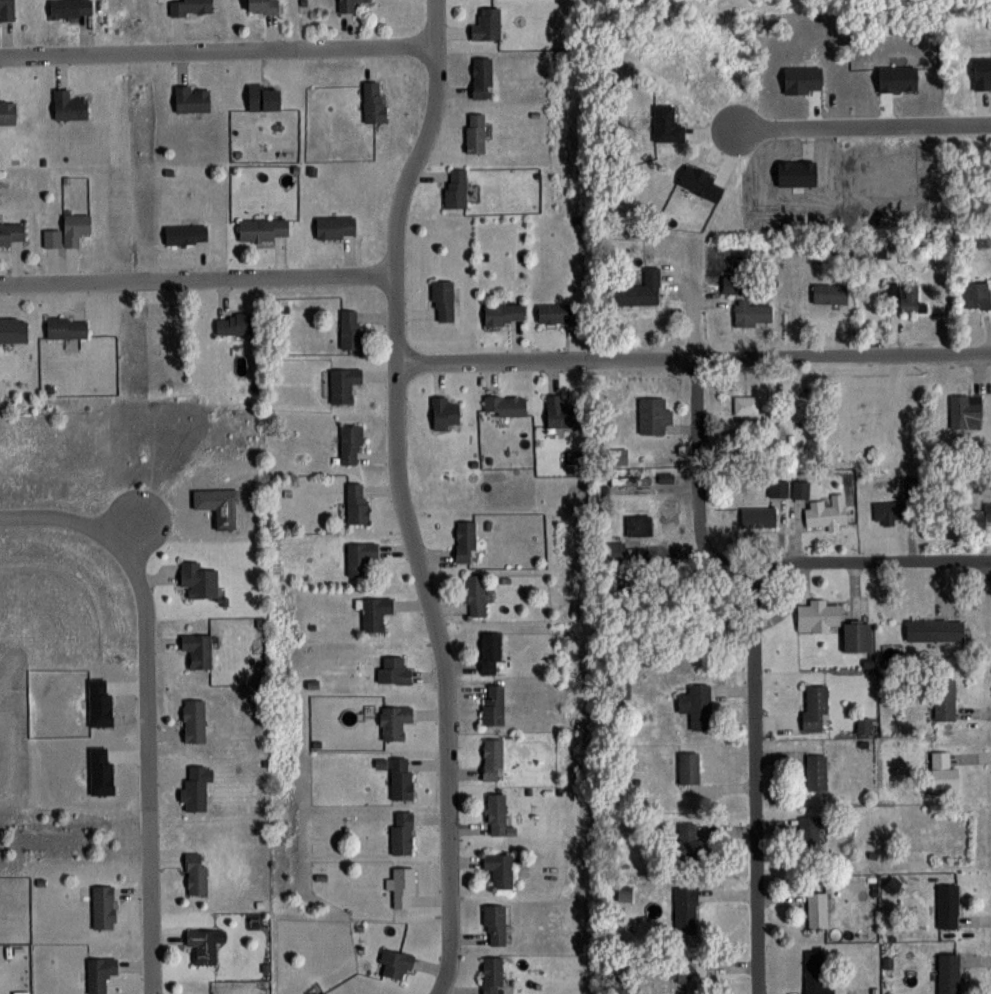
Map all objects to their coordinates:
building: (262, 6)
building: (348, 6)
building: (191, 7)
building: (70, 8)
building: (7, 9)
building: (486, 24)
road: (217, 49)
building: (481, 77)
building: (264, 96)
building: (192, 98)
building: (374, 101)
building: (68, 105)
building: (7, 112)
road: (864, 126)
building: (475, 132)
building: (455, 188)
building: (335, 227)
building: (263, 229)
building: (68, 231)
building: (11, 233)
building: (186, 234)
road: (197, 279)
building: (732, 285)
building: (639, 290)
building: (829, 293)
building: (977, 295)
building: (905, 297)
building: (442, 300)
building: (503, 313)
building: (554, 313)
building: (753, 313)
building: (234, 324)
building: (66, 327)
building: (350, 328)
building: (13, 329)
road: (692, 357)
building: (342, 384)
building: (745, 404)
building: (504, 405)
building: (965, 410)
building: (561, 412)
building: (444, 413)
building: (652, 415)
building: (350, 444)
road: (695, 453)
building: (630, 480)
building: (778, 487)
building: (800, 489)
road: (401, 496)
building: (356, 503)
building: (900, 503)
building: (827, 512)
building: (758, 516)
building: (979, 517)
building: (638, 524)
building: (465, 540)
building: (615, 549)
building: (360, 557)
road: (845, 561)
building: (201, 585)
building: (476, 594)
building: (375, 613)
building: (817, 617)
building: (934, 629)
building: (857, 638)
building: (197, 650)
building: (490, 652)
building: (393, 669)
road: (143, 691)
building: (944, 699)
building: (492, 703)
building: (696, 705)
building: (814, 708)
building: (194, 720)
building: (394, 721)
building: (492, 758)
building: (688, 767)
building: (943, 770)
building: (815, 772)
building: (401, 778)
road: (751, 778)
building: (196, 786)
building: (495, 813)
building: (401, 832)
building: (810, 833)
building: (687, 839)
building: (499, 868)
building: (195, 874)
building: (402, 886)
building: (685, 904)
building: (947, 905)
building: (103, 906)
building: (817, 909)
building: (494, 924)
building: (202, 946)
building: (394, 963)
building: (813, 963)
building: (686, 969)
building: (100, 973)
building: (948, 973)
building: (491, 974)
building: (818, 990)
building: (322, 992)

